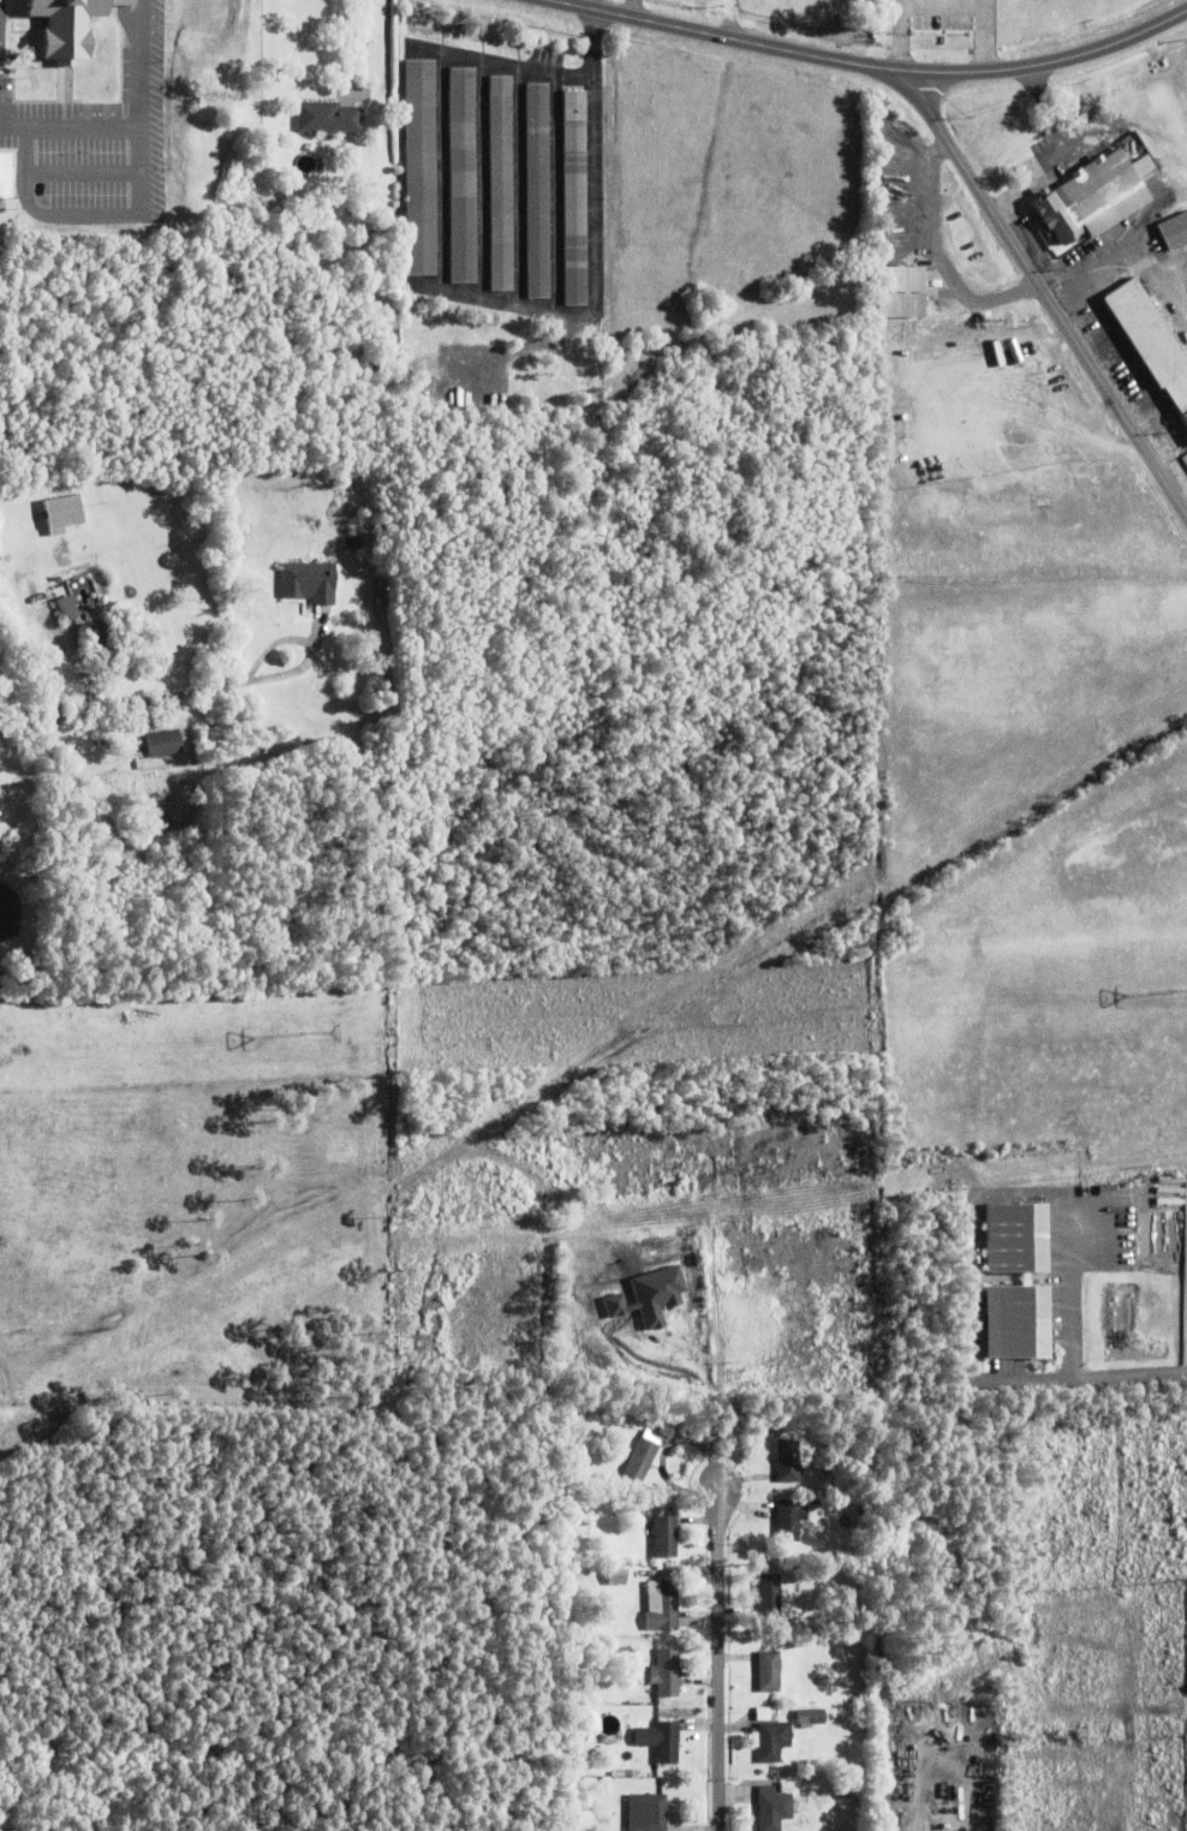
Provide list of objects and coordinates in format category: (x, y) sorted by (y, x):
building: (123, 1)
road: (123, 1)
road: (129, 20)
road: (738, 23)
building: (71, 26)
road: (494, 62)
road: (872, 64)
building: (327, 115)
road: (135, 130)
parking lot: (99, 148)
building: (416, 165)
road: (437, 169)
building: (884, 169)
road: (82, 172)
building: (458, 174)
building: (4, 177)
road: (476, 178)
building: (495, 183)
road: (514, 186)
building: (533, 189)
building: (894, 190)
building: (1094, 192)
road: (551, 193)
building: (569, 198)
road: (83, 216)
building: (1174, 228)
road: (587, 254)
building: (1145, 278)
building: (899, 288)
road: (1044, 290)
building: (1009, 332)
building: (1150, 339)
road: (520, 352)
building: (321, 356)
building: (269, 362)
building: (62, 511)
building: (374, 533)
building: (352, 541)
building: (58, 566)
building: (309, 580)
building: (70, 600)
building: (100, 636)
road: (115, 706)
building: (114, 735)
building: (162, 741)
building: (106, 776)
building: (1, 827)
building: (1, 965)
power tower: (1177, 994)
power tower: (308, 1034)
road: (968, 1205)
building: (1008, 1236)
building: (1007, 1320)
road: (1123, 1376)
road: (111, 1417)
building: (643, 1455)
building: (788, 1461)
building: (812, 1499)
building: (789, 1520)
building: (632, 1537)
building: (664, 1537)
building: (765, 1596)
building: (667, 1605)
building: (566, 1635)
road: (720, 1645)
building: (769, 1672)
building: (666, 1674)
building: (625, 1689)
building: (810, 1717)
building: (774, 1741)
building: (664, 1742)
road: (201, 1755)
building: (787, 1788)
building: (774, 1808)
building: (648, 1813)

